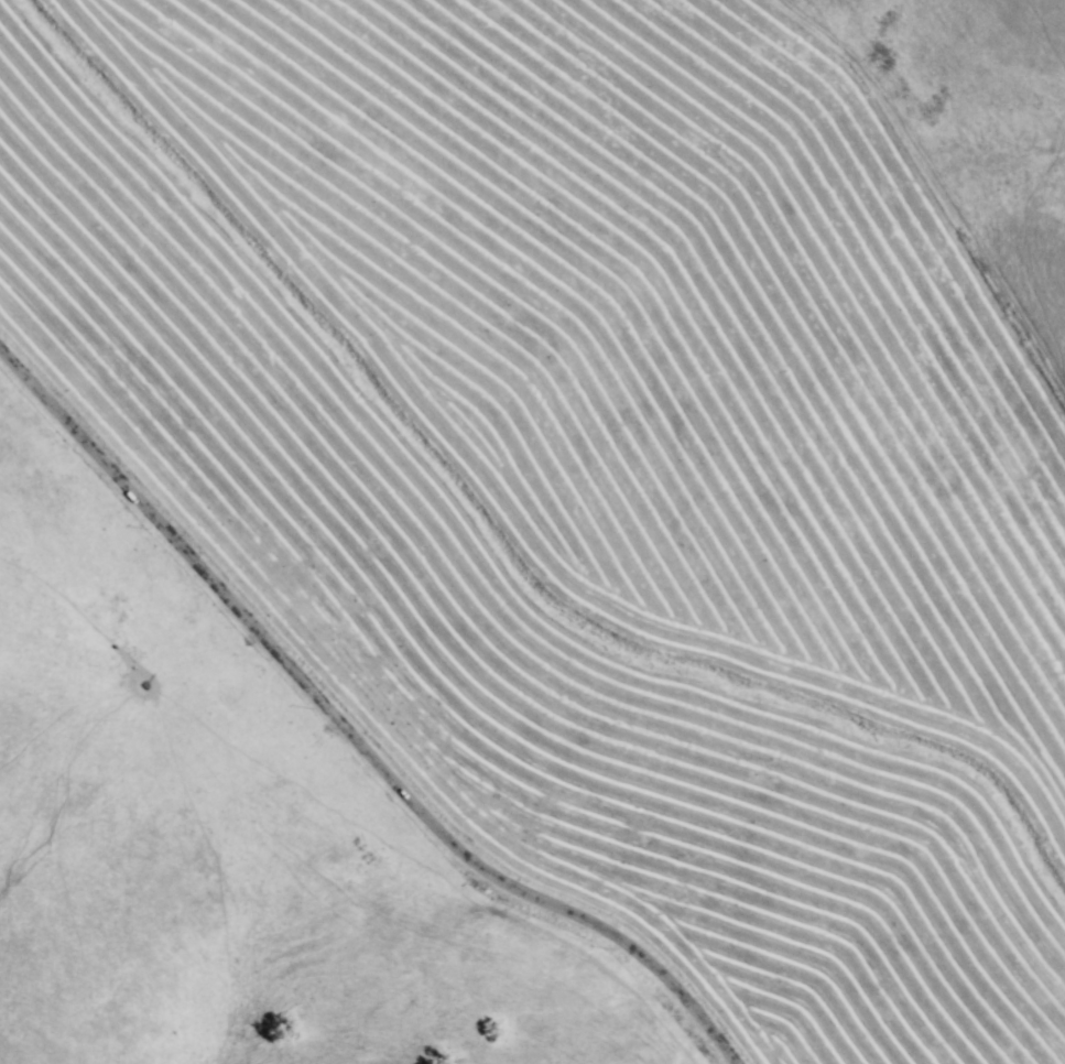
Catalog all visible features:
crop: (601, 450)
road: (339, 736)

